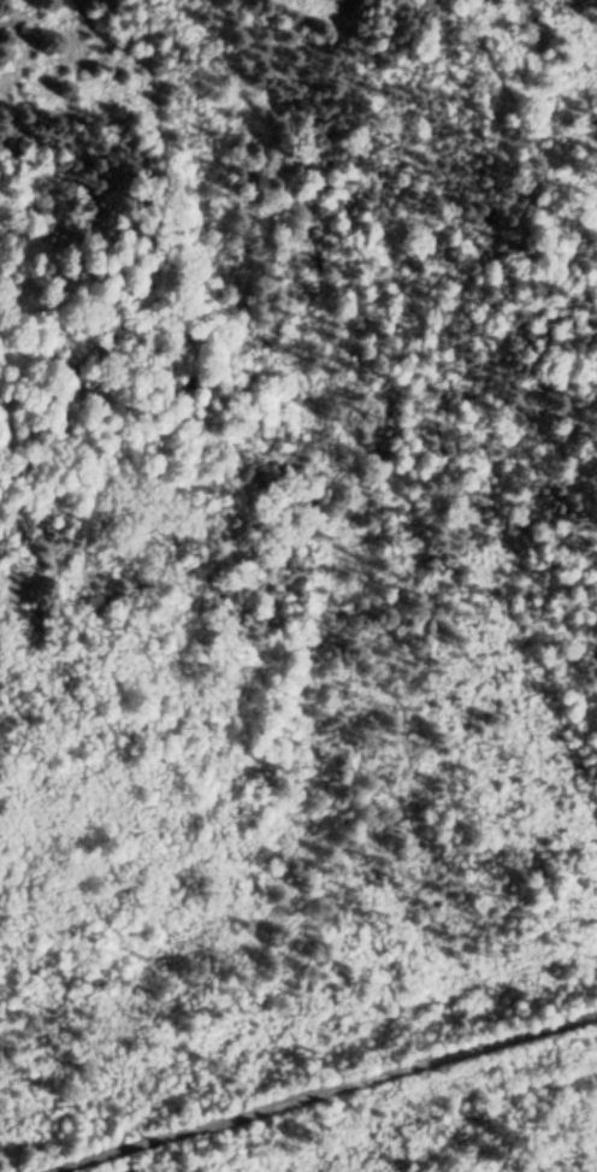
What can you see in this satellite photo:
road: (298, 1084)

